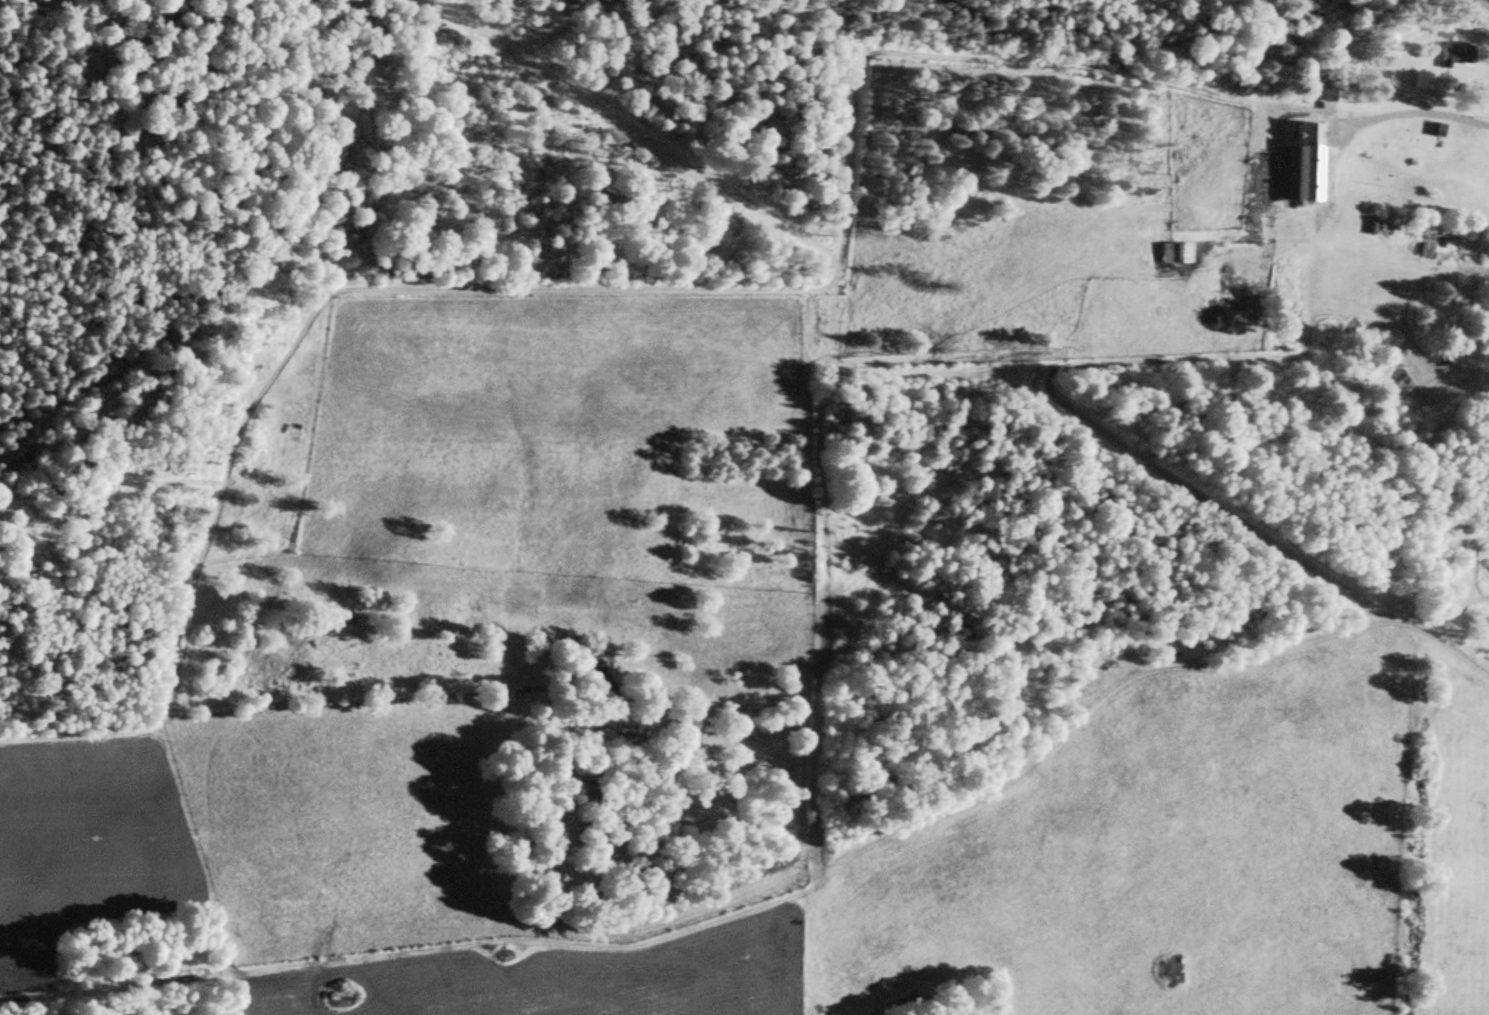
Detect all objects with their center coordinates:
building: (1452, 60)
building: (1419, 83)
building: (1331, 95)
building: (1299, 168)
building: (1174, 253)
building: (1446, 387)

